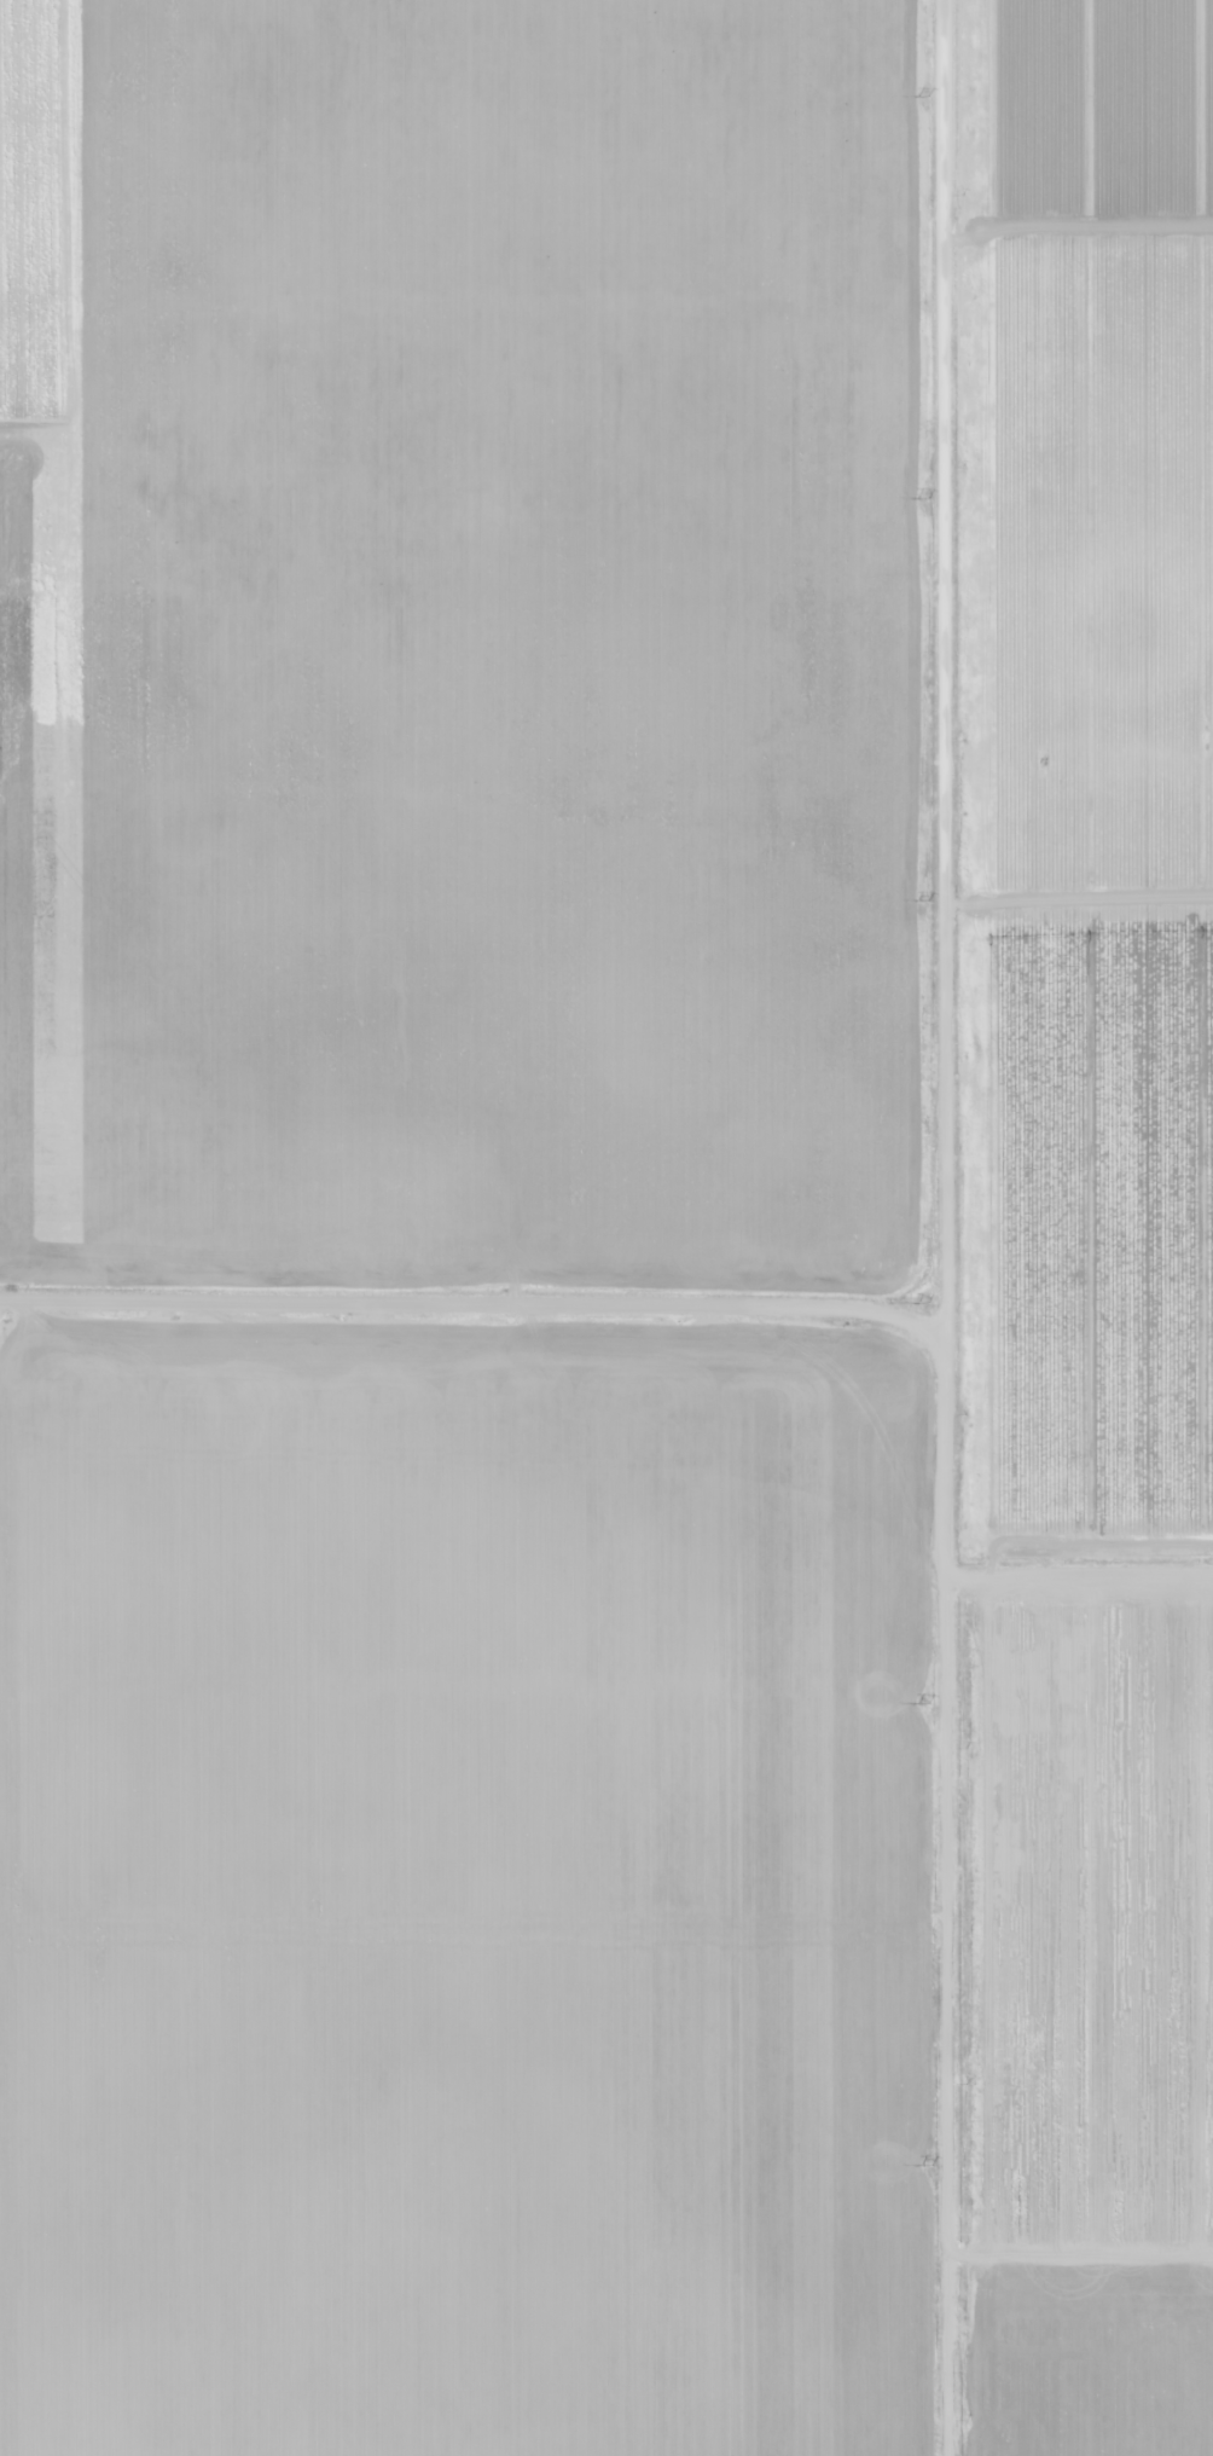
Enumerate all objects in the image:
power tower: (923, 97)
power tower: (925, 498)
power tower: (925, 898)
road: (957, 1228)
power tower: (930, 1302)
power tower: (927, 1702)
power tower: (928, 2164)

